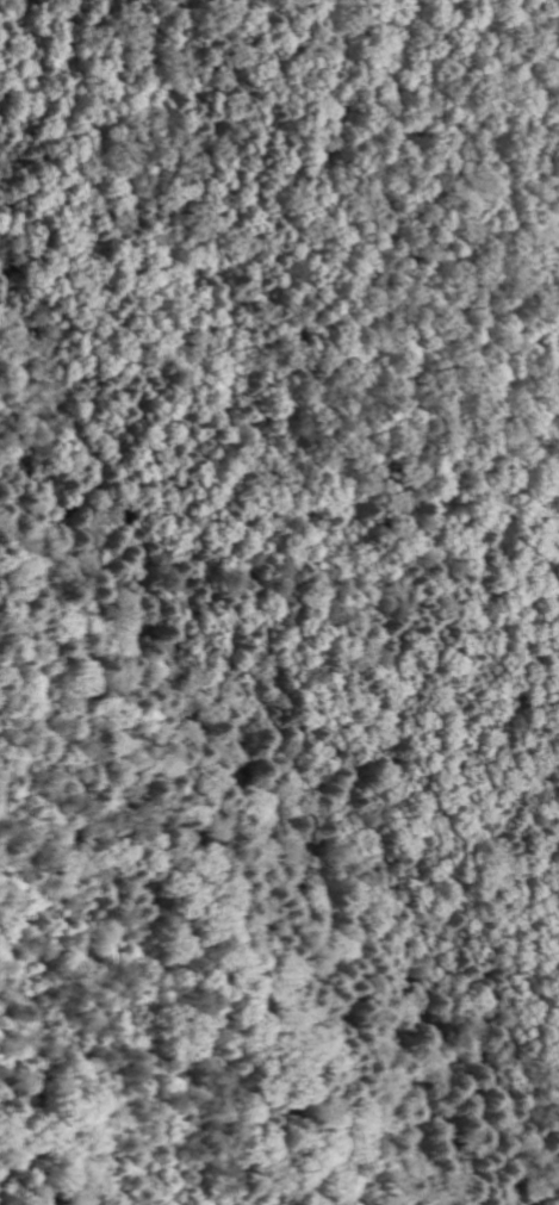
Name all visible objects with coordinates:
road: (49, 93)
road: (95, 883)

